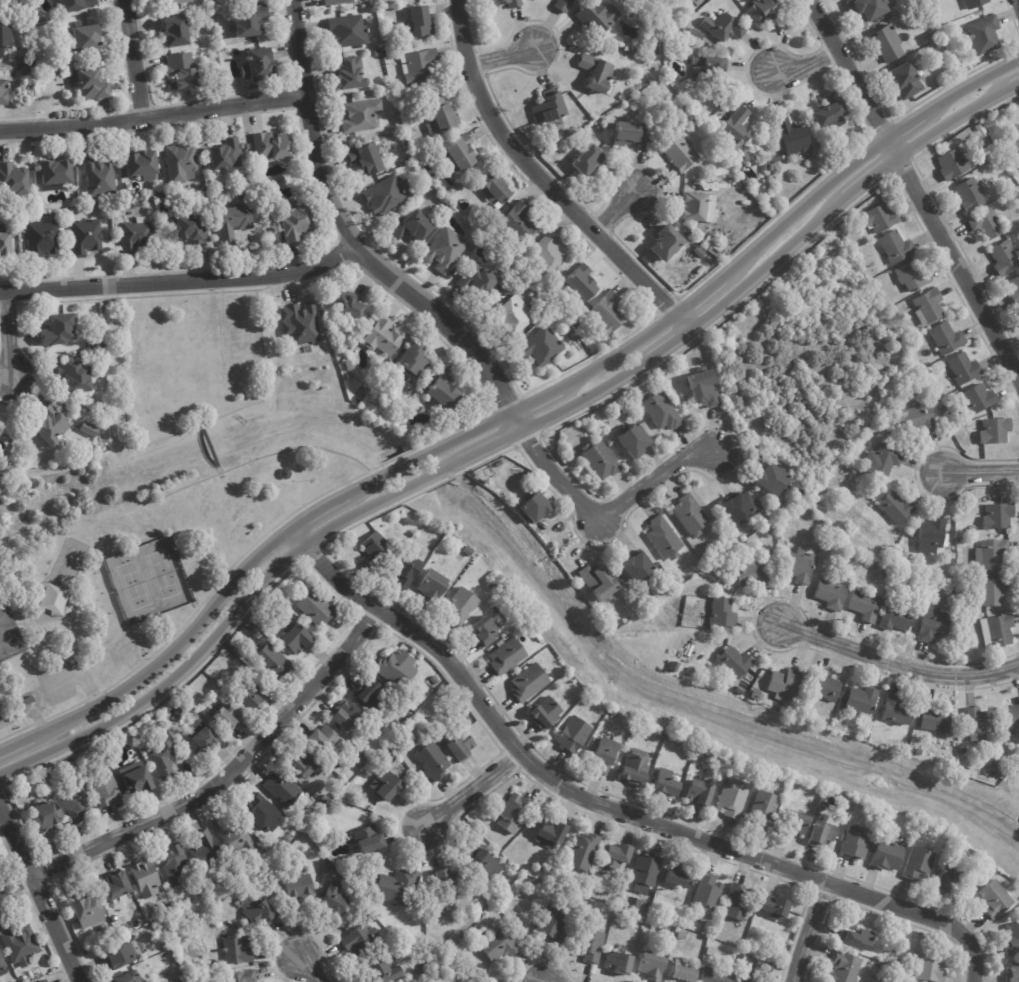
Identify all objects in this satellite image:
building: (180, 1)
building: (382, 1)
building: (338, 2)
building: (972, 3)
building: (562, 4)
building: (514, 5)
building: (77, 6)
building: (865, 8)
building: (766, 12)
building: (593, 18)
building: (252, 21)
building: (422, 22)
building: (722, 28)
building: (179, 31)
building: (350, 31)
building: (695, 34)
building: (930, 34)
building: (982, 34)
building: (88, 38)
building: (6, 39)
building: (884, 44)
building: (938, 46)
building: (379, 53)
building: (390, 53)
road: (503, 57)
road: (139, 58)
building: (261, 65)
building: (711, 65)
building: (420, 66)
road: (811, 68)
building: (28, 70)
building: (58, 71)
building: (184, 72)
building: (355, 74)
building: (596, 74)
road: (857, 79)
building: (903, 80)
building: (95, 85)
building: (4, 92)
building: (548, 108)
building: (828, 113)
road: (155, 115)
building: (361, 115)
building: (446, 119)
building: (734, 128)
building: (623, 133)
building: (791, 135)
building: (245, 146)
building: (274, 146)
building: (1002, 146)
building: (986, 151)
building: (464, 152)
building: (677, 153)
building: (229, 155)
building: (586, 159)
building: (370, 160)
building: (776, 160)
building: (183, 163)
building: (951, 163)
building: (142, 165)
building: (449, 165)
building: (765, 166)
building: (57, 174)
building: (101, 176)
building: (14, 179)
road: (551, 181)
building: (1000, 190)
building: (499, 192)
building: (391, 194)
building: (968, 195)
building: (155, 204)
road: (622, 204)
building: (695, 208)
building: (878, 216)
building: (236, 222)
building: (519, 223)
building: (298, 224)
building: (985, 224)
building: (727, 226)
building: (686, 227)
building: (413, 228)
building: (190, 230)
building: (695, 231)
building: (139, 236)
building: (87, 238)
building: (44, 240)
building: (662, 242)
building: (7, 243)
building: (712, 244)
building: (894, 245)
building: (447, 249)
building: (698, 252)
building: (547, 256)
building: (1003, 257)
road: (961, 266)
building: (911, 276)
building: (479, 279)
building: (583, 282)
road: (179, 284)
building: (878, 284)
building: (1013, 290)
building: (528, 297)
building: (350, 304)
building: (926, 306)
building: (611, 314)
building: (518, 315)
building: (539, 320)
building: (302, 324)
building: (580, 326)
building: (59, 329)
road: (454, 329)
building: (386, 337)
building: (944, 338)
road: (12, 340)
building: (543, 346)
building: (94, 347)
building: (75, 354)
building: (413, 363)
building: (351, 366)
building: (962, 368)
road: (267, 371)
building: (927, 376)
building: (78, 377)
building: (352, 377)
building: (704, 389)
building: (448, 393)
building: (976, 398)
building: (660, 411)
road: (511, 412)
building: (628, 412)
building: (918, 417)
building: (55, 428)
building: (90, 429)
building: (993, 429)
building: (959, 431)
road: (508, 439)
building: (633, 440)
road: (215, 454)
building: (598, 459)
building: (880, 459)
road: (983, 473)
building: (771, 480)
park: (153, 501)
building: (772, 504)
building: (532, 506)
building: (737, 508)
building: (761, 508)
building: (893, 508)
building: (688, 515)
building: (996, 515)
building: (409, 521)
building: (930, 535)
building: (663, 537)
building: (414, 538)
building: (372, 544)
building: (467, 551)
building: (990, 554)
building: (897, 556)
building: (882, 558)
building: (798, 565)
building: (636, 566)
building: (405, 569)
building: (750, 571)
park: (147, 578)
building: (599, 582)
building: (490, 586)
building: (430, 587)
building: (990, 590)
building: (831, 593)
building: (53, 598)
building: (459, 605)
building: (864, 605)
building: (316, 608)
building: (722, 612)
building: (895, 617)
building: (934, 624)
building: (482, 630)
building: (995, 630)
building: (256, 631)
park: (8, 633)
building: (299, 639)
building: (505, 655)
road: (900, 659)
building: (733, 661)
building: (274, 663)
building: (400, 668)
building: (435, 680)
building: (526, 682)
building: (784, 683)
parking lot: (42, 684)
building: (823, 686)
building: (435, 690)
building: (373, 694)
building: (255, 695)
building: (1018, 698)
building: (860, 701)
building: (29, 703)
building: (896, 711)
building: (543, 712)
building: (612, 713)
building: (230, 714)
building: (1013, 715)
building: (349, 716)
building: (154, 717)
building: (465, 718)
building: (934, 718)
building: (978, 723)
building: (571, 735)
building: (205, 737)
building: (325, 740)
building: (181, 742)
building: (463, 746)
building: (962, 749)
building: (917, 752)
building: (699, 754)
building: (603, 755)
building: (391, 757)
building: (163, 758)
building: (1013, 760)
building: (364, 761)
building: (434, 761)
building: (308, 767)
building: (631, 768)
building: (1002, 774)
building: (139, 781)
building: (712, 781)
building: (661, 782)
building: (388, 786)
road: (218, 788)
building: (283, 789)
building: (106, 790)
building: (696, 793)
road: (470, 795)
building: (346, 797)
building: (731, 798)
building: (79, 805)
building: (762, 809)
road: (609, 810)
building: (512, 812)
building: (264, 813)
building: (47, 817)
building: (791, 824)
building: (550, 831)
building: (820, 833)
building: (879, 833)
building: (237, 837)
building: (368, 840)
building: (853, 843)
building: (582, 850)
building: (274, 851)
building: (207, 853)
building: (615, 856)
building: (886, 856)
building: (479, 862)
building: (177, 864)
building: (918, 865)
building: (645, 868)
building: (676, 876)
building: (147, 878)
building: (946, 879)
building: (444, 880)
building: (534, 880)
building: (397, 885)
building: (118, 887)
road: (41, 888)
building: (301, 888)
building: (705, 888)
building: (591, 892)
building: (994, 898)
building: (736, 901)
building: (633, 902)
building: (335, 903)
building: (502, 904)
building: (774, 906)
building: (261, 912)
building: (90, 914)
building: (619, 914)
building: (372, 917)
building: (550, 922)
road: (807, 931)
building: (681, 934)
building: (894, 934)
building: (857, 937)
building: (360, 939)
building: (1012, 939)
building: (589, 943)
building: (496, 944)
building: (166, 945)
building: (22, 946)
building: (238, 950)
building: (121, 956)
building: (745, 956)
building: (618, 962)
building: (420, 963)
building: (2, 964)
building: (764, 964)
building: (651, 965)
building: (413, 966)
building: (845, 966)
building: (929, 966)
road: (313, 970)
building: (382, 970)
building: (679, 972)
building: (1013, 972)
building: (714, 974)
building: (242, 976)
building: (131, 977)
building: (25, 978)
building: (745, 979)
road: (537, 980)
building: (42, 981)
building: (46, 981)

